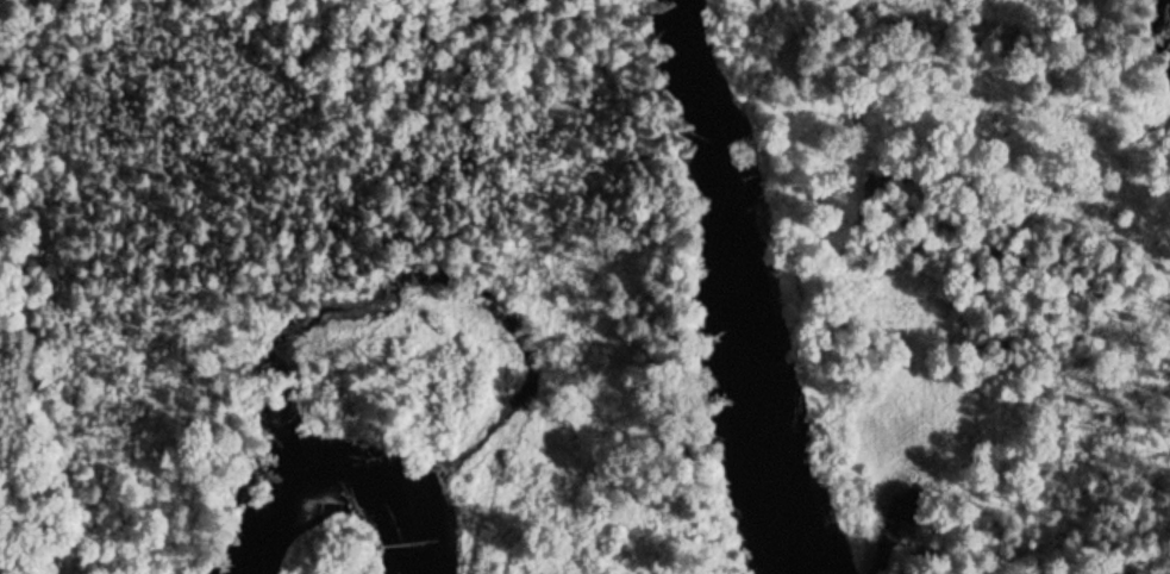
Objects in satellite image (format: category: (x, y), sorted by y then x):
river: (733, 289)
river: (414, 299)
river: (377, 485)

